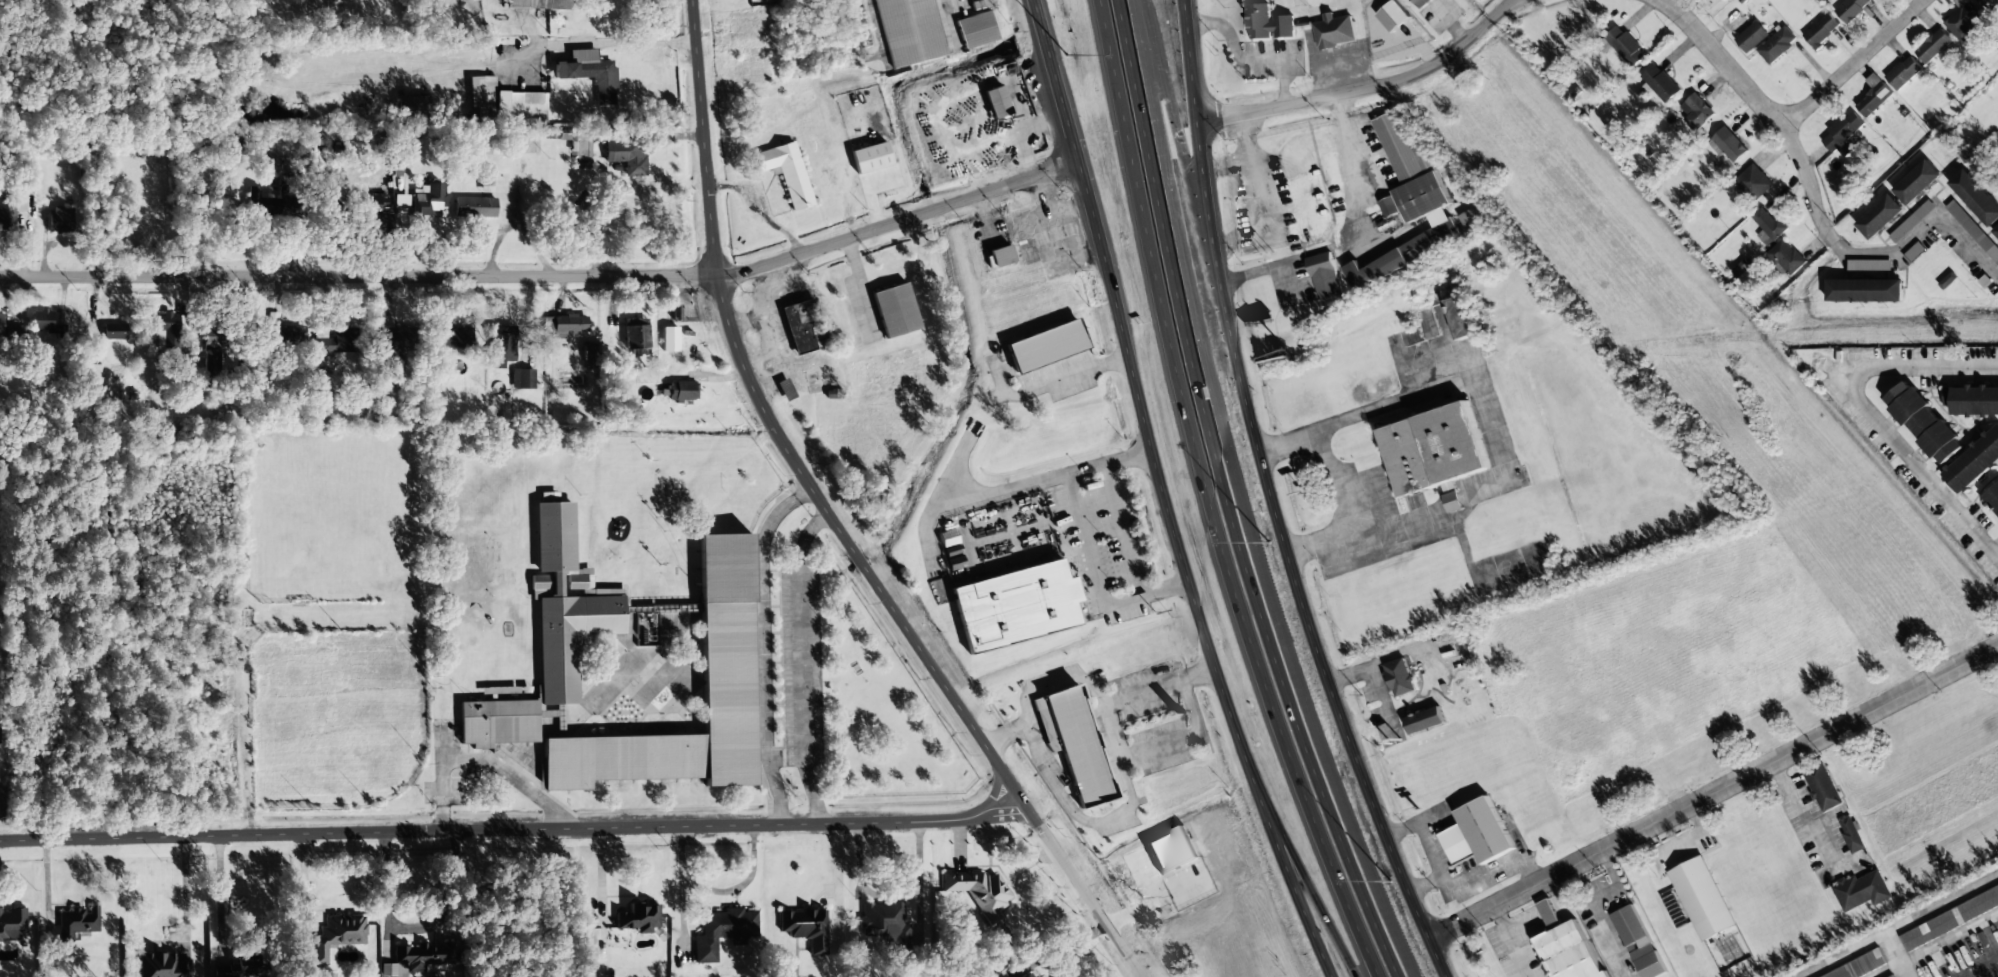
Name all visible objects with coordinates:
building: (1421, 3)
building: (539, 4)
building: (1990, 6)
building: (1851, 9)
building: (1964, 20)
building: (1267, 23)
building: (976, 30)
building: (1821, 30)
building: (909, 31)
building: (1334, 31)
building: (1752, 37)
building: (1777, 44)
building: (1625, 46)
building: (1933, 46)
road: (546, 50)
road: (1852, 65)
building: (1904, 73)
building: (590, 74)
building: (1660, 83)
road: (1365, 88)
building: (1874, 96)
building: (482, 98)
building: (996, 103)
building: (412, 107)
building: (520, 108)
building: (1696, 112)
building: (1843, 134)
building: (1727, 145)
building: (627, 158)
building: (870, 158)
building: (786, 172)
building: (1753, 182)
building: (1917, 182)
road: (1813, 195)
building: (1976, 197)
building: (429, 199)
building: (401, 201)
building: (1410, 202)
building: (261, 204)
building: (1389, 206)
building: (375, 207)
building: (475, 207)
building: (11, 210)
building: (1880, 216)
building: (1469, 218)
building: (60, 220)
building: (1912, 221)
road: (897, 222)
building: (1768, 226)
building: (1973, 230)
building: (1996, 231)
building: (1001, 256)
building: (1787, 257)
building: (1869, 265)
road: (358, 276)
building: (1324, 277)
building: (1948, 281)
building: (1865, 290)
building: (895, 310)
building: (675, 313)
building: (1461, 318)
building: (41, 320)
building: (800, 324)
building: (1, 330)
building: (167, 331)
building: (113, 332)
building: (286, 336)
building: (636, 336)
building: (393, 338)
building: (455, 338)
building: (337, 342)
building: (503, 345)
building: (1046, 346)
building: (213, 350)
building: (590, 351)
building: (93, 375)
building: (522, 379)
building: (681, 391)
building: (1972, 401)
road: (1859, 407)
building: (1924, 422)
building: (1434, 452)
building: (1974, 462)
road: (1163, 495)
road: (1206, 498)
road: (1227, 498)
building: (1992, 498)
road: (1270, 500)
road: (833, 521)
building: (1014, 606)
helipad: (1448, 620)
building: (725, 635)
building: (547, 636)
building: (1452, 642)
road: (1196, 674)
building: (1399, 677)
road: (1033, 691)
road: (1138, 692)
building: (1425, 720)
road: (1106, 732)
road: (1181, 739)
building: (1072, 743)
building: (1821, 786)
road: (1713, 792)
road: (1076, 816)
road: (513, 831)
building: (1851, 832)
building: (1476, 833)
building: (1860, 890)
building: (978, 891)
road: (1310, 898)
building: (1701, 898)
building: (637, 917)
building: (1949, 917)
building: (75, 921)
building: (12, 924)
building: (1628, 924)
building: (886, 926)
building: (804, 927)
building: (722, 931)
building: (337, 935)
building: (1565, 946)
building: (420, 959)
building: (161, 965)
building: (1861, 965)
building: (242, 967)
building: (1031, 975)
building: (1888, 975)
building: (1001, 976)

